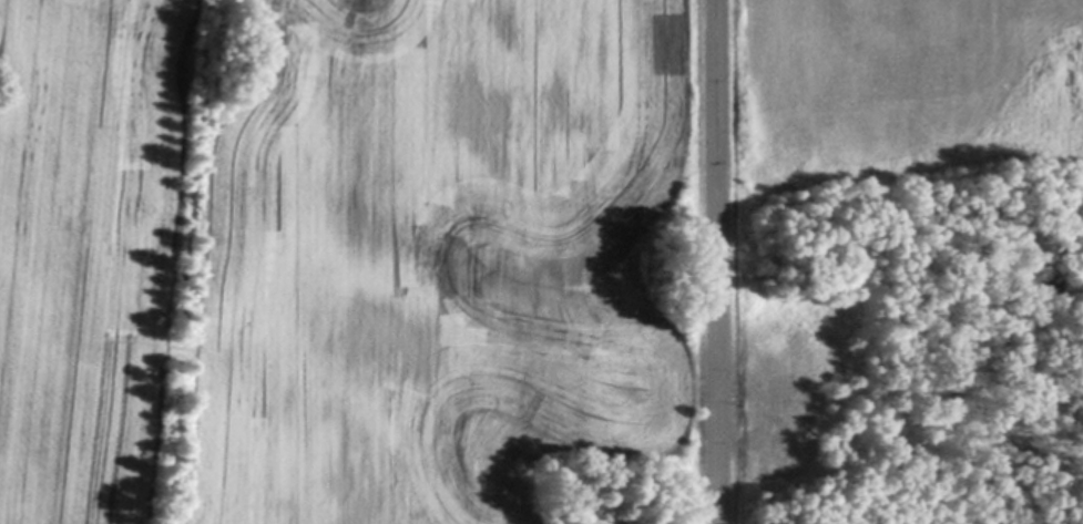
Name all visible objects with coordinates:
road: (715, 261)

